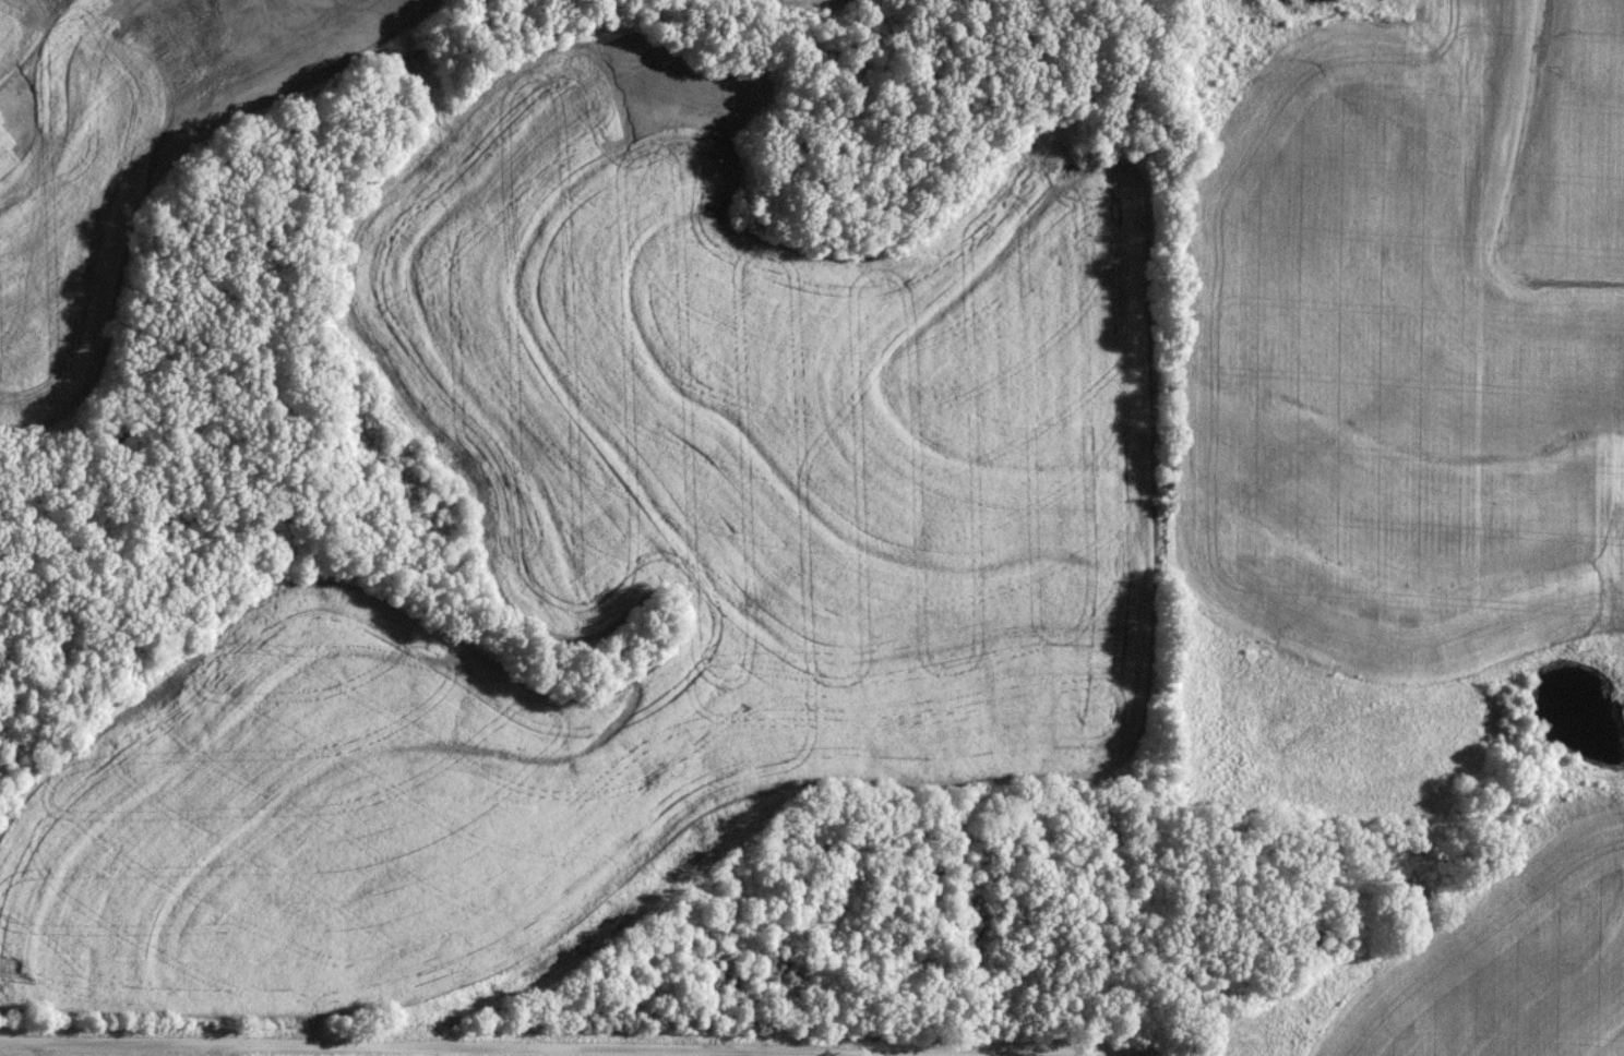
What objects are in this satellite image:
road: (551, 1047)
road: (41, 1048)
road: (200, 1049)

